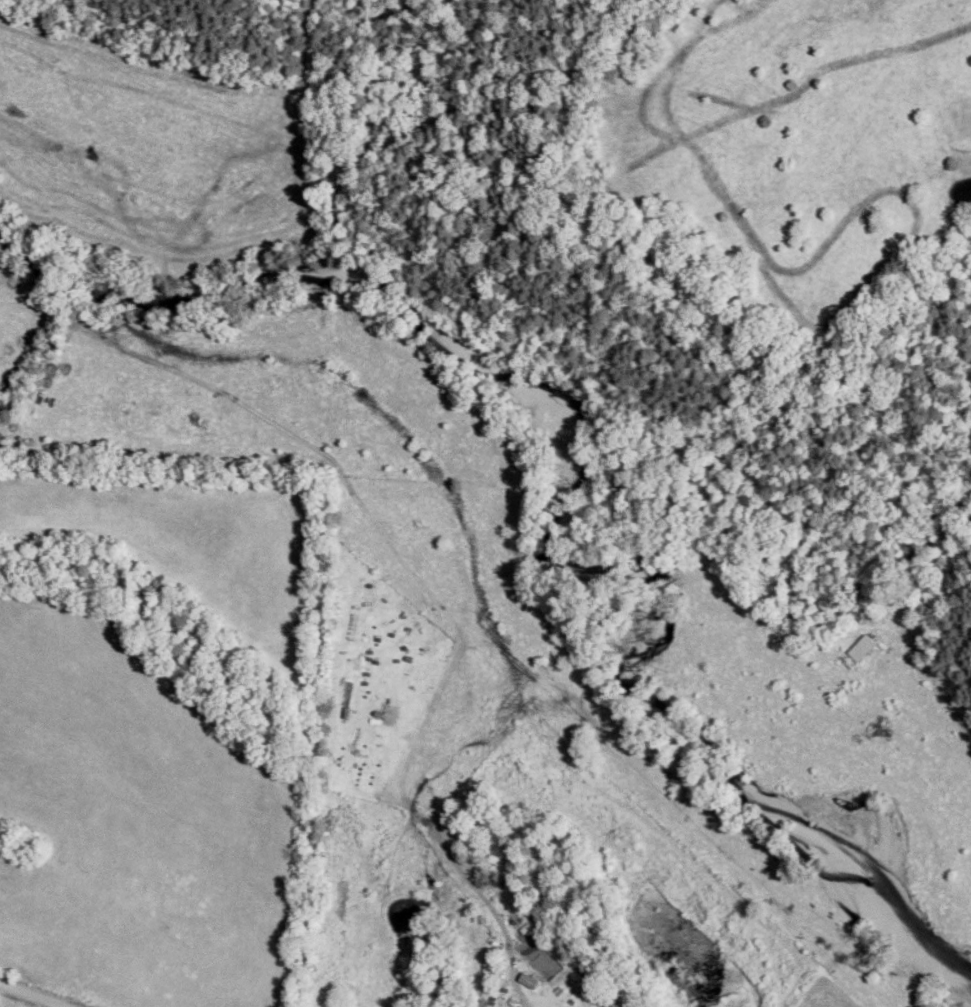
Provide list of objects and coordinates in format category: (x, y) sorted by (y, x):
building: (861, 648)
building: (529, 980)
road: (516, 989)
road: (35, 994)

